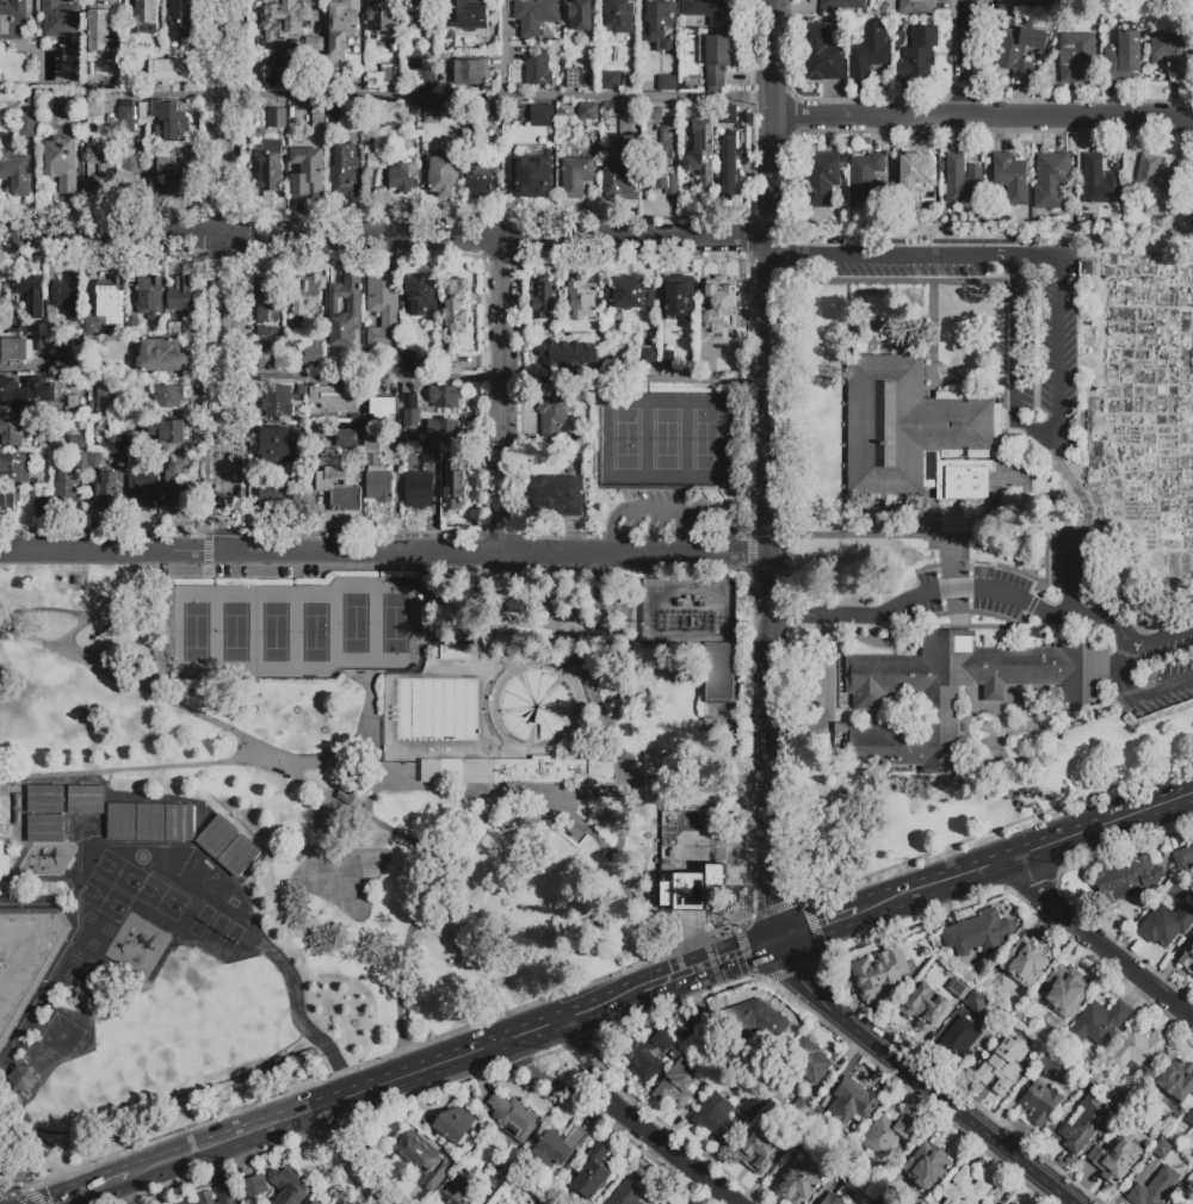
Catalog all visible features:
building: (843, 5)
building: (1021, 6)
building: (916, 7)
building: (711, 11)
building: (472, 14)
building: (536, 14)
building: (580, 14)
building: (383, 16)
building: (619, 16)
building: (12, 17)
building: (146, 17)
building: (285, 17)
building: (425, 17)
building: (180, 18)
building: (60, 19)
building: (659, 23)
building: (101, 25)
building: (342, 25)
building: (869, 50)
building: (1015, 50)
road: (507, 51)
building: (822, 53)
building: (919, 54)
building: (1169, 54)
building: (605, 57)
building: (718, 57)
road: (962, 57)
building: (1077, 57)
building: (1124, 57)
building: (419, 68)
building: (538, 68)
building: (628, 69)
building: (167, 72)
building: (277, 72)
building: (470, 72)
building: (135, 75)
building: (388, 75)
building: (610, 79)
building: (372, 80)
building: (571, 80)
building: (667, 84)
building: (682, 85)
road: (168, 95)
road: (500, 101)
building: (67, 105)
building: (416, 109)
building: (94, 110)
building: (141, 111)
building: (588, 112)
building: (334, 113)
building: (432, 115)
building: (542, 116)
building: (653, 116)
building: (728, 116)
road: (983, 116)
building: (277, 117)
building: (125, 118)
building: (317, 118)
building: (484, 119)
building: (169, 121)
building: (27, 124)
building: (666, 143)
building: (701, 154)
building: (373, 161)
building: (62, 163)
building: (728, 166)
building: (271, 167)
building: (99, 169)
building: (131, 172)
building: (173, 172)
building: (478, 172)
building: (620, 172)
building: (307, 173)
building: (345, 173)
building: (16, 175)
building: (531, 175)
building: (576, 175)
building: (441, 177)
building: (910, 177)
building: (403, 178)
building: (822, 178)
building: (866, 178)
building: (1010, 179)
building: (963, 180)
building: (1050, 180)
building: (665, 181)
building: (1099, 181)
building: (1191, 181)
building: (1154, 184)
building: (1192, 193)
building: (1191, 215)
road: (385, 241)
road: (228, 247)
road: (891, 254)
building: (305, 292)
building: (67, 294)
building: (630, 294)
building: (149, 295)
building: (31, 296)
building: (110, 297)
building: (181, 297)
building: (420, 297)
building: (581, 297)
building: (678, 297)
building: (543, 298)
building: (268, 302)
building: (718, 303)
building: (383, 308)
building: (455, 308)
building: (345, 311)
building: (134, 326)
building: (55, 327)
building: (91, 327)
building: (175, 328)
building: (265, 329)
building: (562, 329)
building: (320, 332)
building: (268, 334)
building: (21, 348)
building: (567, 354)
building: (648, 354)
building: (311, 356)
building: (161, 357)
building: (283, 359)
building: (410, 360)
building: (668, 360)
building: (68, 362)
building: (455, 362)
building: (93, 372)
road: (500, 381)
building: (26, 393)
building: (105, 397)
building: (168, 397)
building: (334, 397)
building: (445, 397)
road: (502, 397)
building: (282, 401)
building: (383, 408)
building: (410, 410)
building: (554, 418)
building: (909, 425)
road: (1056, 426)
building: (12, 430)
building: (169, 431)
building: (444, 432)
building: (347, 438)
building: (75, 440)
building: (371, 440)
park: (667, 443)
building: (134, 444)
building: (277, 446)
building: (431, 455)
building: (94, 461)
building: (81, 462)
building: (17, 467)
road: (773, 471)
building: (453, 478)
building: (962, 480)
building: (378, 482)
building: (178, 484)
building: (143, 489)
building: (339, 489)
building: (419, 489)
building: (66, 490)
building: (555, 492)
building: (107, 493)
building: (282, 495)
building: (8, 500)
building: (41, 506)
road: (668, 508)
parking lot: (670, 511)
road: (227, 525)
road: (85, 554)
road: (228, 555)
road: (528, 555)
building: (1092, 561)
road: (1068, 572)
road: (952, 588)
road: (104, 601)
road: (45, 606)
building: (434, 609)
power substation: (691, 611)
road: (824, 615)
park: (353, 623)
park: (392, 623)
road: (1114, 625)
road: (160, 626)
park: (194, 632)
park: (234, 632)
park: (273, 632)
park: (313, 632)
road: (1156, 640)
building: (455, 652)
road: (599, 672)
building: (719, 673)
road: (1164, 685)
building: (623, 687)
road: (828, 693)
building: (940, 705)
building: (710, 726)
building: (841, 734)
road: (255, 749)
park: (394, 765)
building: (431, 771)
building: (452, 771)
building: (478, 771)
building: (554, 771)
road: (696, 788)
road: (540, 790)
building: (353, 796)
building: (47, 799)
building: (85, 799)
road: (351, 809)
building: (696, 821)
building: (120, 822)
building: (150, 822)
building: (179, 822)
road: (583, 822)
building: (45, 828)
building: (217, 835)
road: (1026, 853)
building: (239, 854)
building: (1183, 857)
building: (0, 858)
park: (117, 872)
building: (687, 873)
building: (1129, 881)
park: (160, 897)
park: (103, 899)
road: (413, 914)
building: (1167, 922)
road: (817, 930)
building: (979, 933)
road: (1100, 940)
traffic signals: (777, 945)
building: (26, 958)
building: (1025, 958)
building: (1187, 959)
road: (713, 967)
building: (879, 975)
building: (959, 987)
building: (1065, 990)
building: (975, 1001)
building: (925, 1007)
building: (748, 1020)
building: (1056, 1023)
building: (1098, 1023)
building: (959, 1041)
building: (1139, 1048)
building: (648, 1054)
building: (808, 1060)
building: (1050, 1063)
building: (1003, 1068)
road: (591, 1072)
building: (21, 1076)
road: (921, 1078)
building: (1177, 1080)
road: (395, 1082)
road: (550, 1082)
building: (678, 1083)
building: (1040, 1103)
building: (852, 1104)
road: (19, 1107)
building: (750, 1107)
building: (808, 1115)
building: (513, 1118)
building: (713, 1118)
building: (1189, 1118)
building: (453, 1123)
building: (1086, 1124)
building: (1129, 1124)
building: (885, 1135)
building: (793, 1136)
building: (558, 1147)
building: (809, 1147)
building: (1162, 1149)
building: (758, 1150)
road: (351, 1156)
building: (420, 1157)
building: (1118, 1160)
road: (678, 1161)
building: (926, 1166)
building: (506, 1167)
building: (591, 1172)
building: (845, 1177)
building: (798, 1185)
building: (255, 1186)
building: (289, 1186)
road: (98, 1188)
building: (460, 1188)
building: (965, 1188)
building: (1154, 1188)
building: (629, 1191)
road: (19, 1192)
building: (217, 1196)
building: (830, 1199)
building: (883, 1200)
building: (187, 1202)
building: (1187, 1202)
building: (308, 1203)
building: (675, 1203)
building: (1012, 1203)
building: (1176, 1203)

